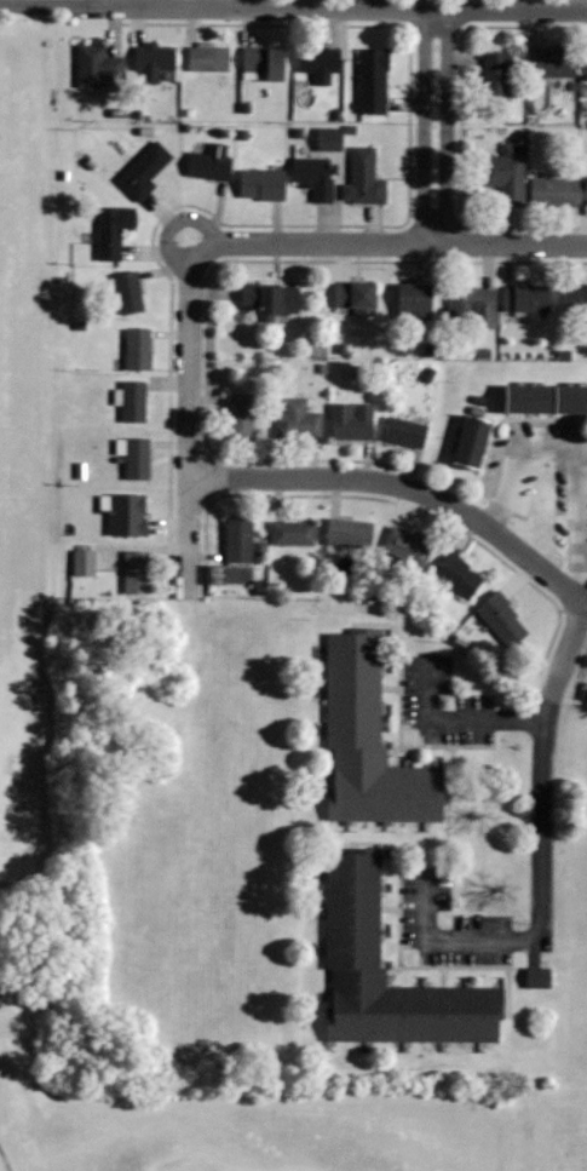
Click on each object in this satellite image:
road: (110, 2)
road: (293, 6)
building: (209, 58)
building: (155, 61)
building: (266, 62)
building: (321, 63)
building: (556, 63)
building: (98, 67)
building: (374, 81)
building: (497, 81)
road: (424, 125)
road: (448, 125)
building: (332, 139)
building: (212, 162)
building: (145, 171)
building: (506, 174)
building: (316, 176)
building: (366, 179)
building: (263, 184)
building: (554, 191)
building: (114, 230)
road: (393, 240)
building: (130, 292)
building: (358, 297)
building: (528, 298)
building: (575, 298)
building: (272, 299)
building: (416, 300)
building: (474, 303)
building: (139, 348)
building: (547, 398)
building: (134, 401)
building: (241, 415)
building: (299, 419)
road: (191, 423)
building: (351, 424)
building: (405, 431)
building: (474, 441)
road: (577, 447)
building: (139, 459)
road: (407, 487)
building: (128, 515)
building: (294, 533)
building: (351, 533)
building: (240, 539)
park: (22, 546)
building: (409, 546)
building: (138, 570)
building: (457, 578)
building: (505, 620)
road: (465, 717)
building: (370, 741)
road: (541, 767)
building: (353, 908)
road: (454, 941)
park: (548, 1125)
road: (10, 1150)
park: (192, 1163)

